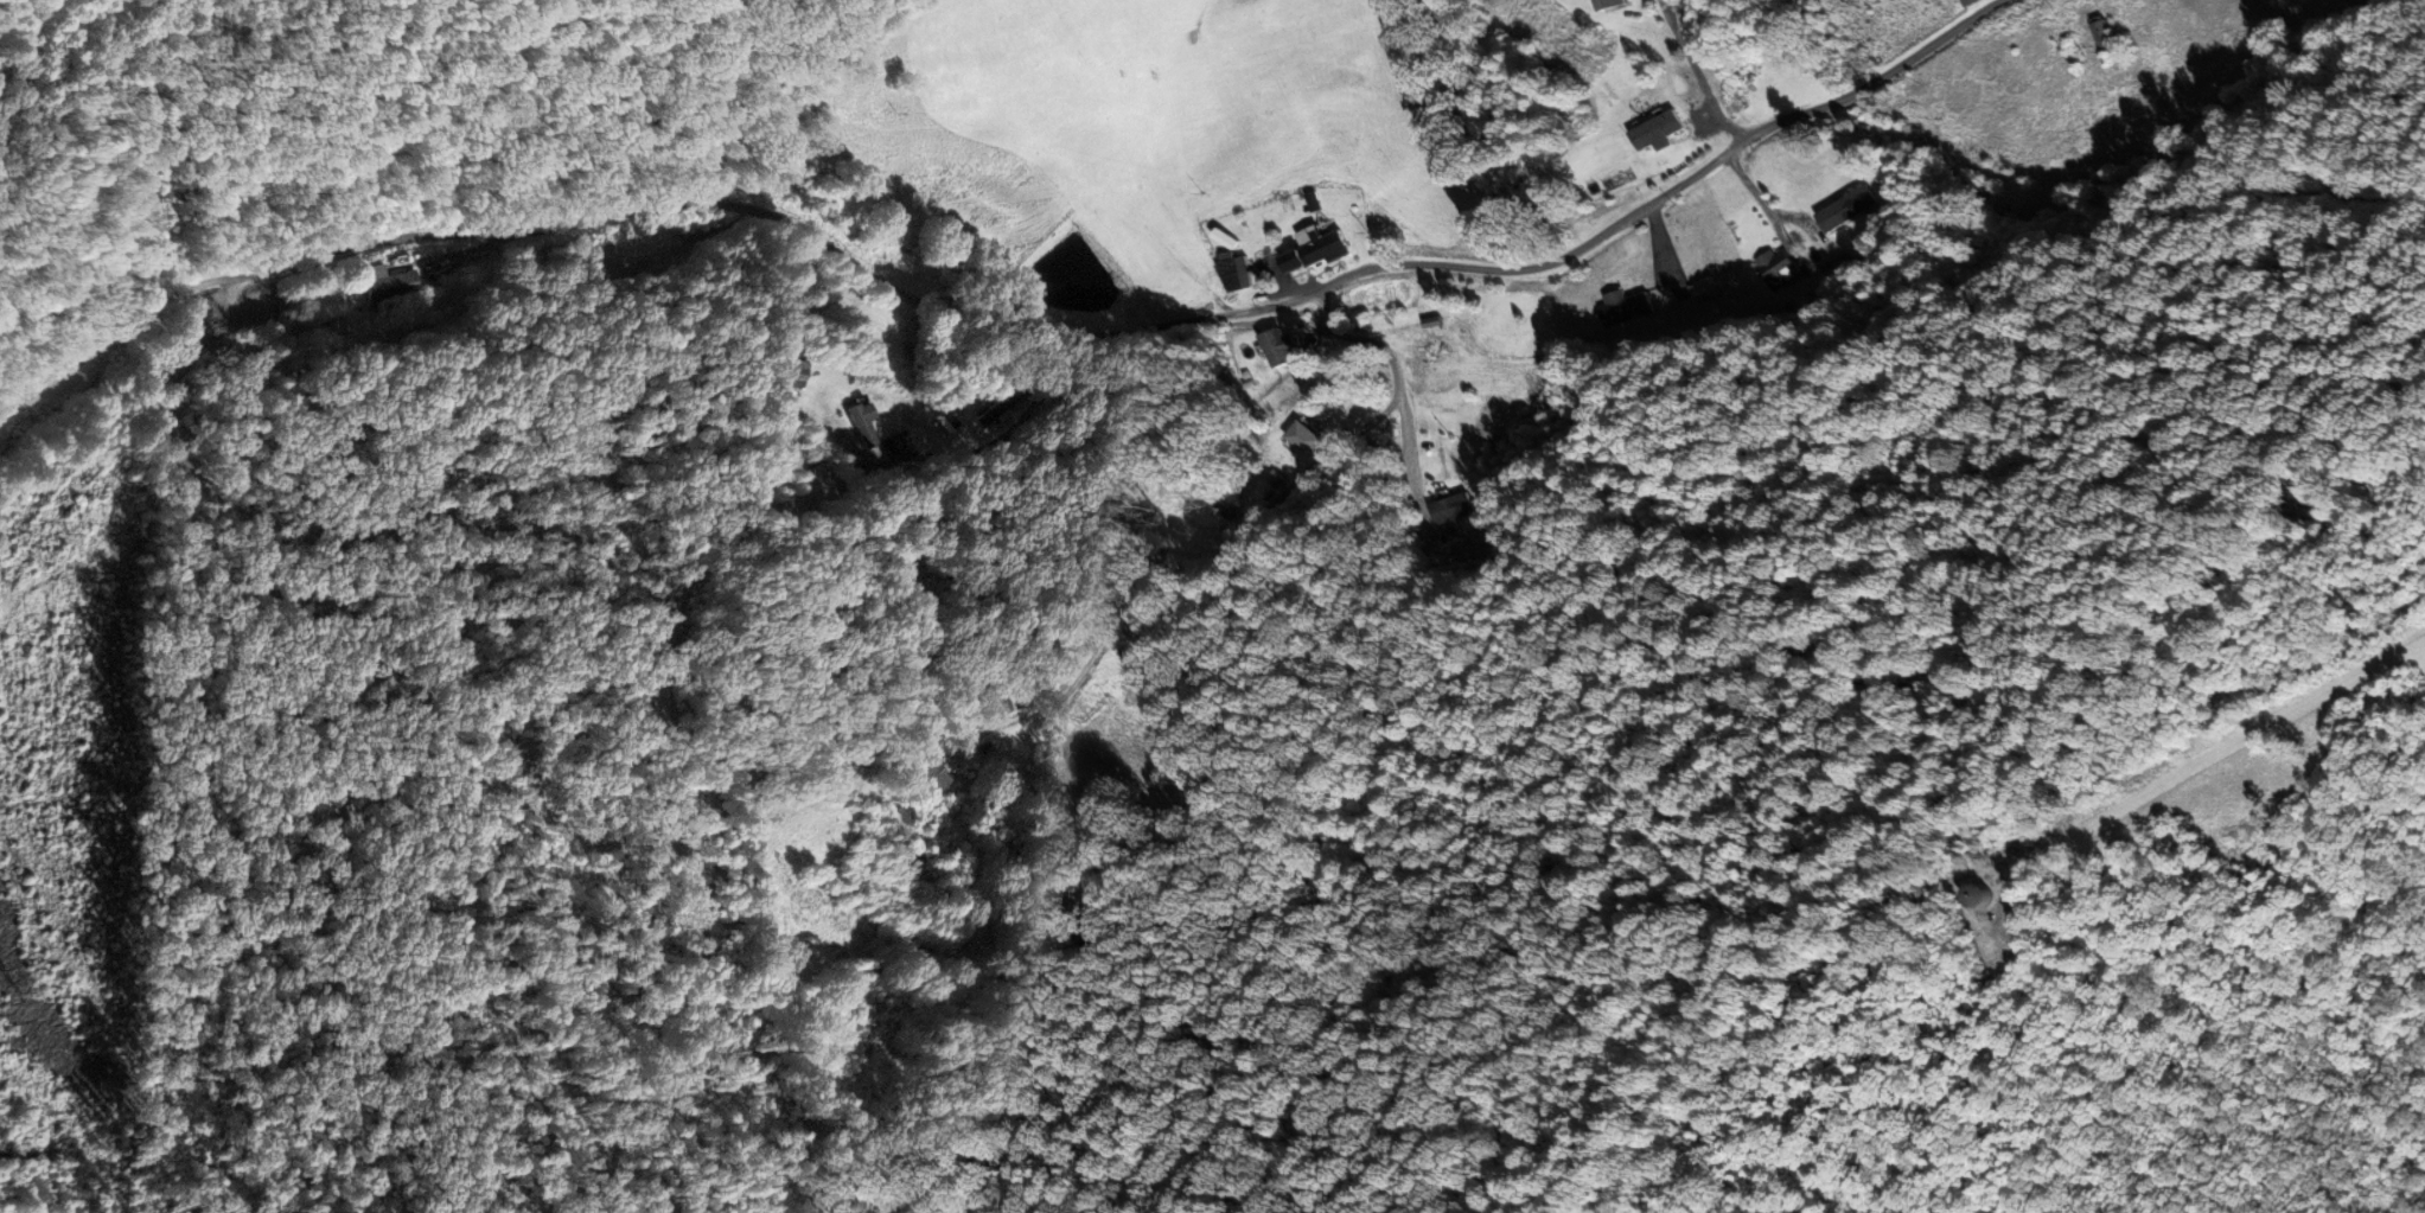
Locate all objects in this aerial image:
building: (1608, 5)
building: (2102, 34)
building: (1657, 130)
building: (1846, 210)
building: (1316, 251)
building: (1779, 269)
building: (387, 283)
building: (1698, 288)
building: (1626, 307)
building: (1444, 334)
building: (1279, 347)
building: (794, 370)
road: (1067, 379)
building: (860, 423)
building: (1306, 439)
building: (1451, 509)
building: (1136, 652)
building: (994, 707)
road: (957, 858)
building: (1976, 894)

